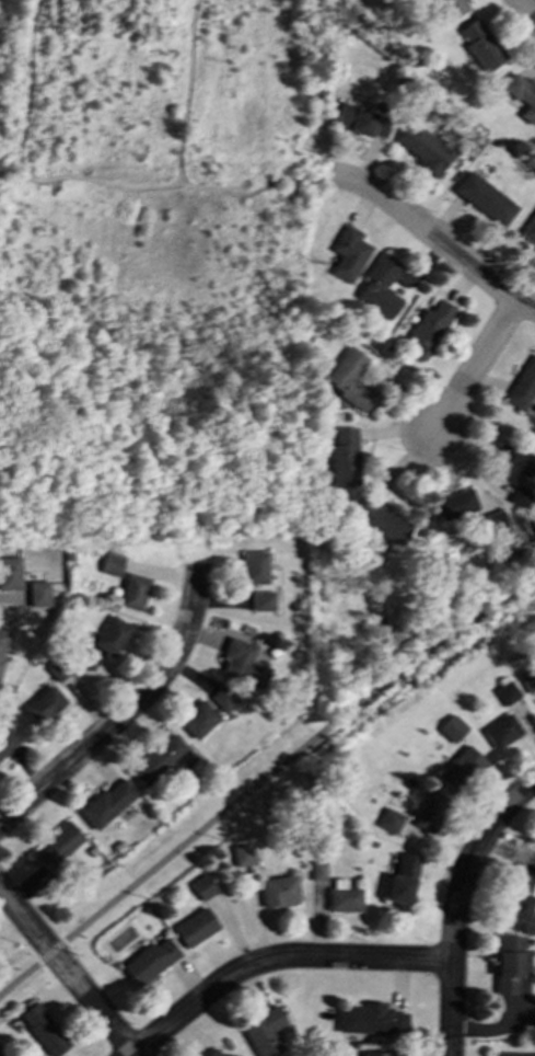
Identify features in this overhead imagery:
building: (450, 8)
road: (525, 11)
building: (480, 45)
building: (522, 94)
building: (359, 119)
building: (423, 147)
building: (484, 197)
building: (530, 232)
road: (438, 239)
building: (348, 253)
building: (380, 286)
building: (429, 329)
road: (476, 366)
building: (350, 379)
building: (523, 384)
building: (345, 456)
building: (511, 459)
building: (521, 495)
building: (456, 504)
building: (493, 519)
building: (383, 521)
building: (112, 563)
building: (254, 566)
building: (10, 573)
building: (132, 592)
building: (37, 593)
building: (261, 600)
building: (111, 635)
building: (2, 642)
building: (85, 657)
building: (242, 663)
building: (56, 669)
building: (527, 678)
building: (507, 692)
building: (222, 697)
building: (44, 704)
road: (126, 711)
building: (198, 719)
building: (452, 727)
building: (502, 730)
building: (7, 739)
building: (159, 759)
building: (460, 767)
road: (264, 787)
building: (106, 803)
building: (430, 811)
building: (389, 819)
building: (533, 842)
building: (57, 846)
building: (242, 854)
building: (317, 870)
building: (402, 879)
building: (202, 886)
building: (278, 889)
building: (520, 893)
building: (342, 897)
road: (456, 906)
building: (195, 926)
road: (276, 959)
building: (149, 960)
building: (508, 963)
road: (68, 972)
building: (370, 1019)
building: (43, 1029)
building: (264, 1032)
building: (1, 1052)
building: (210, 1053)
building: (383, 1053)
building: (512, 1054)
building: (233, 1055)

